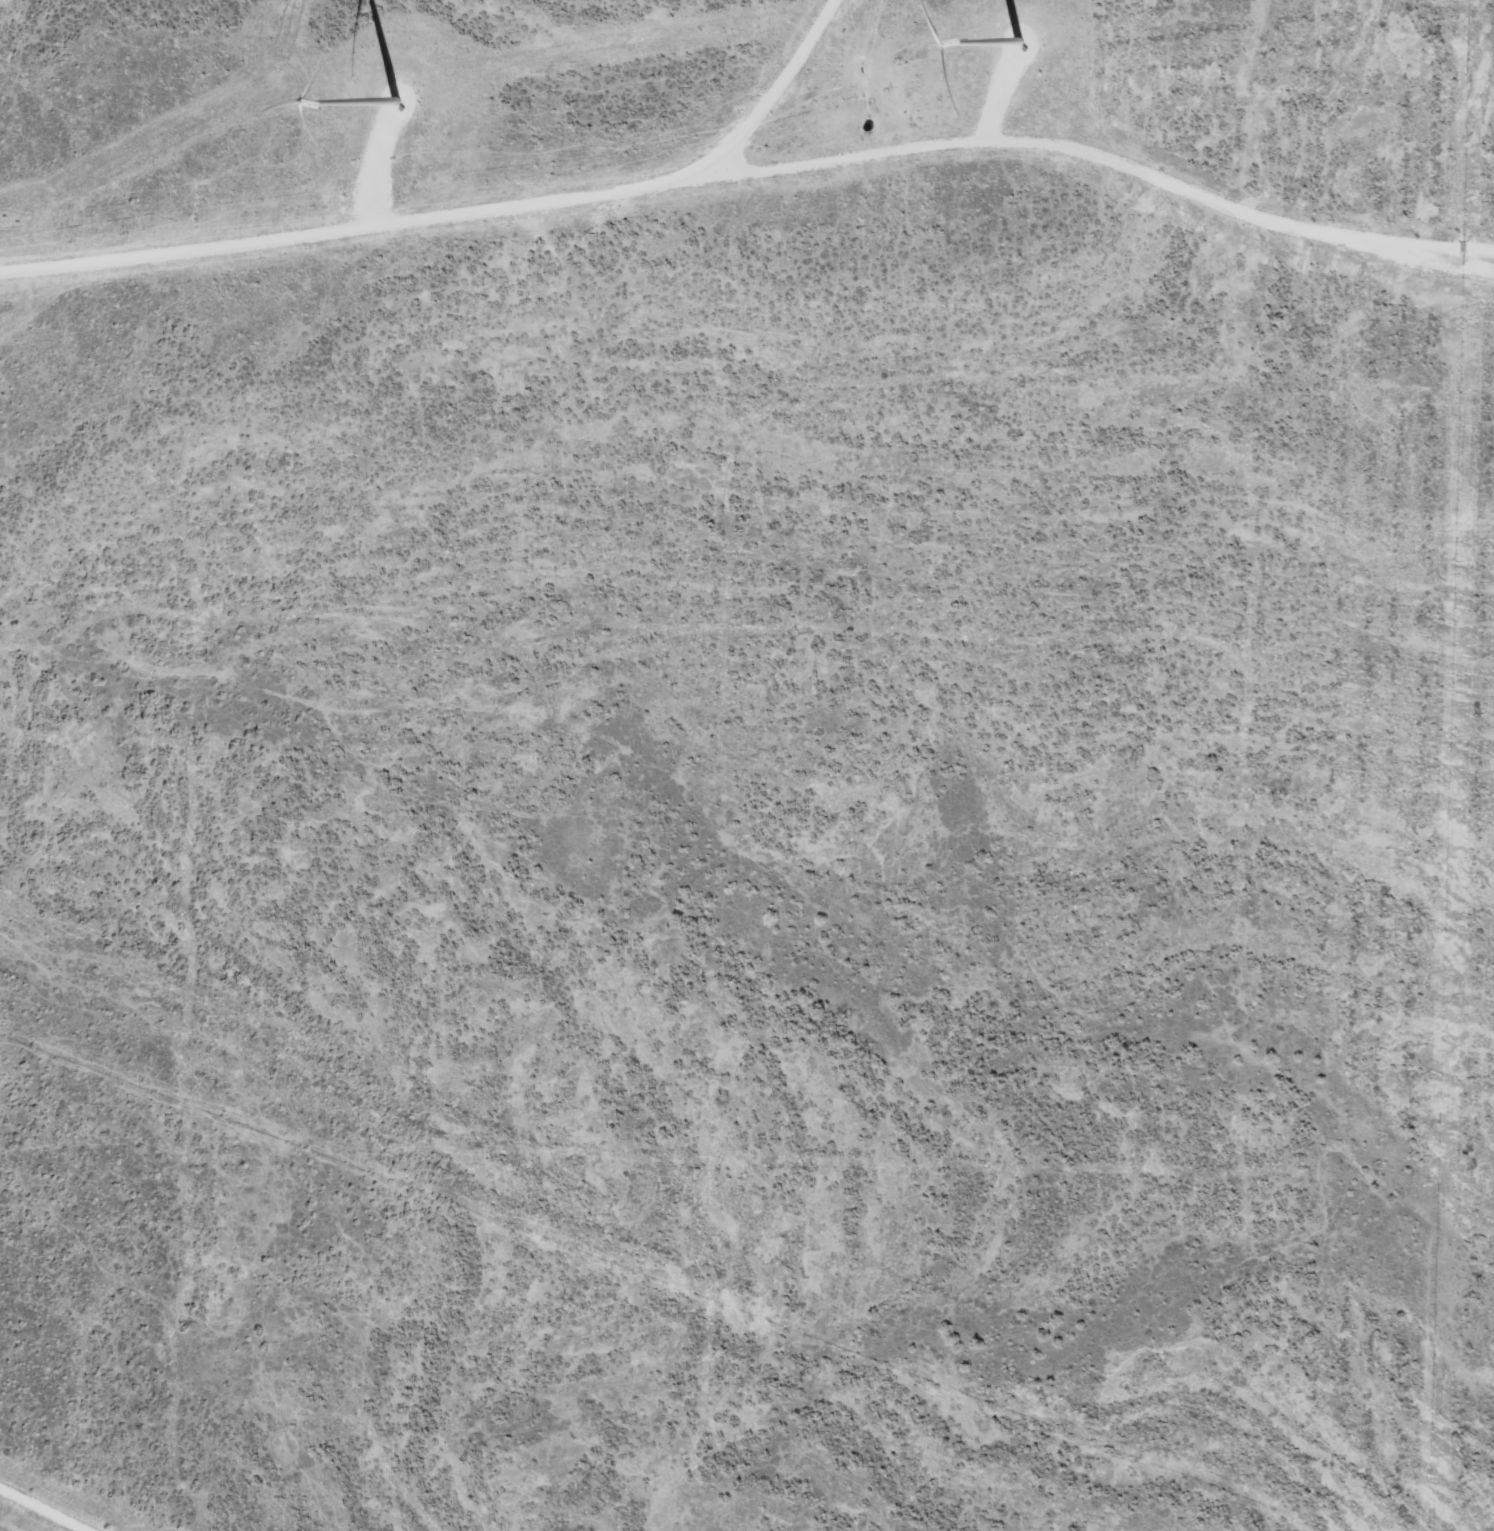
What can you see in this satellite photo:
wind turbine: (1019, 39)
wind turbine: (393, 101)
road: (1012, 142)

